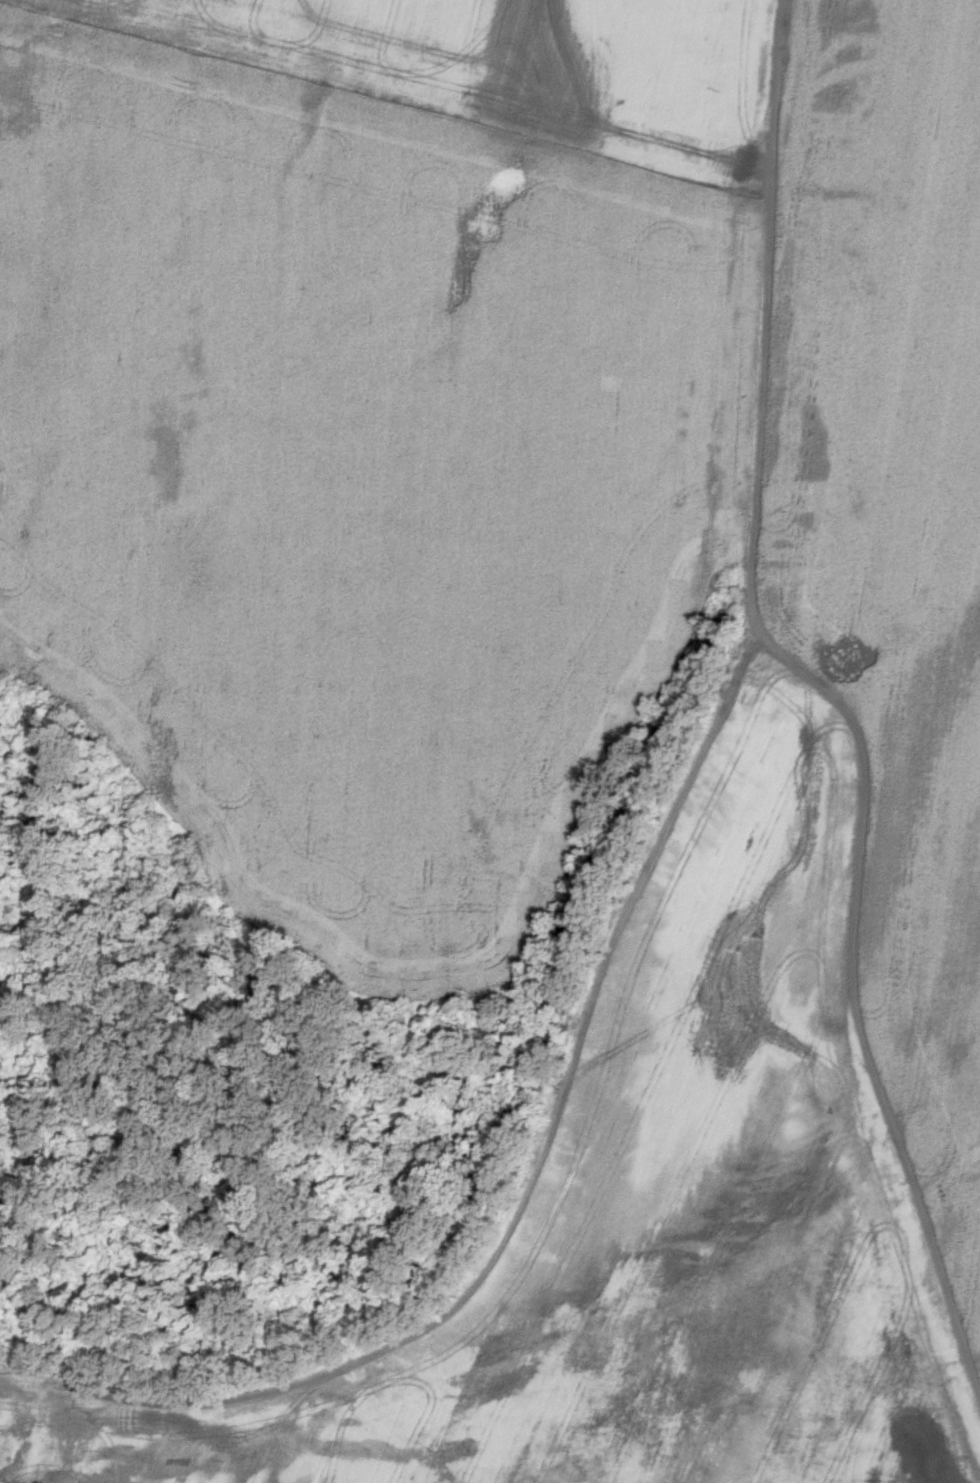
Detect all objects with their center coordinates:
crop: (543, 665)
road: (831, 692)

